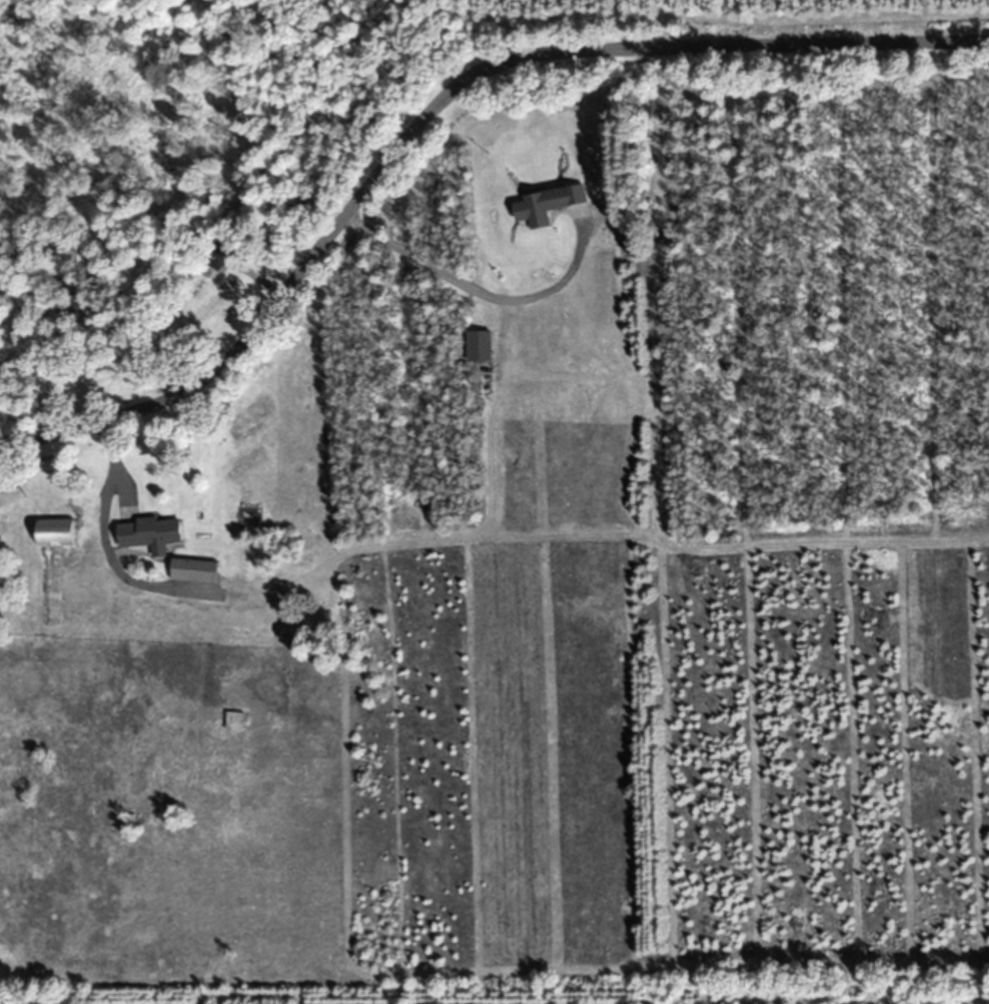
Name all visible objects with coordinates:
road: (431, 101)
building: (550, 204)
building: (219, 266)
building: (480, 347)
building: (58, 533)
building: (152, 535)
building: (197, 572)

